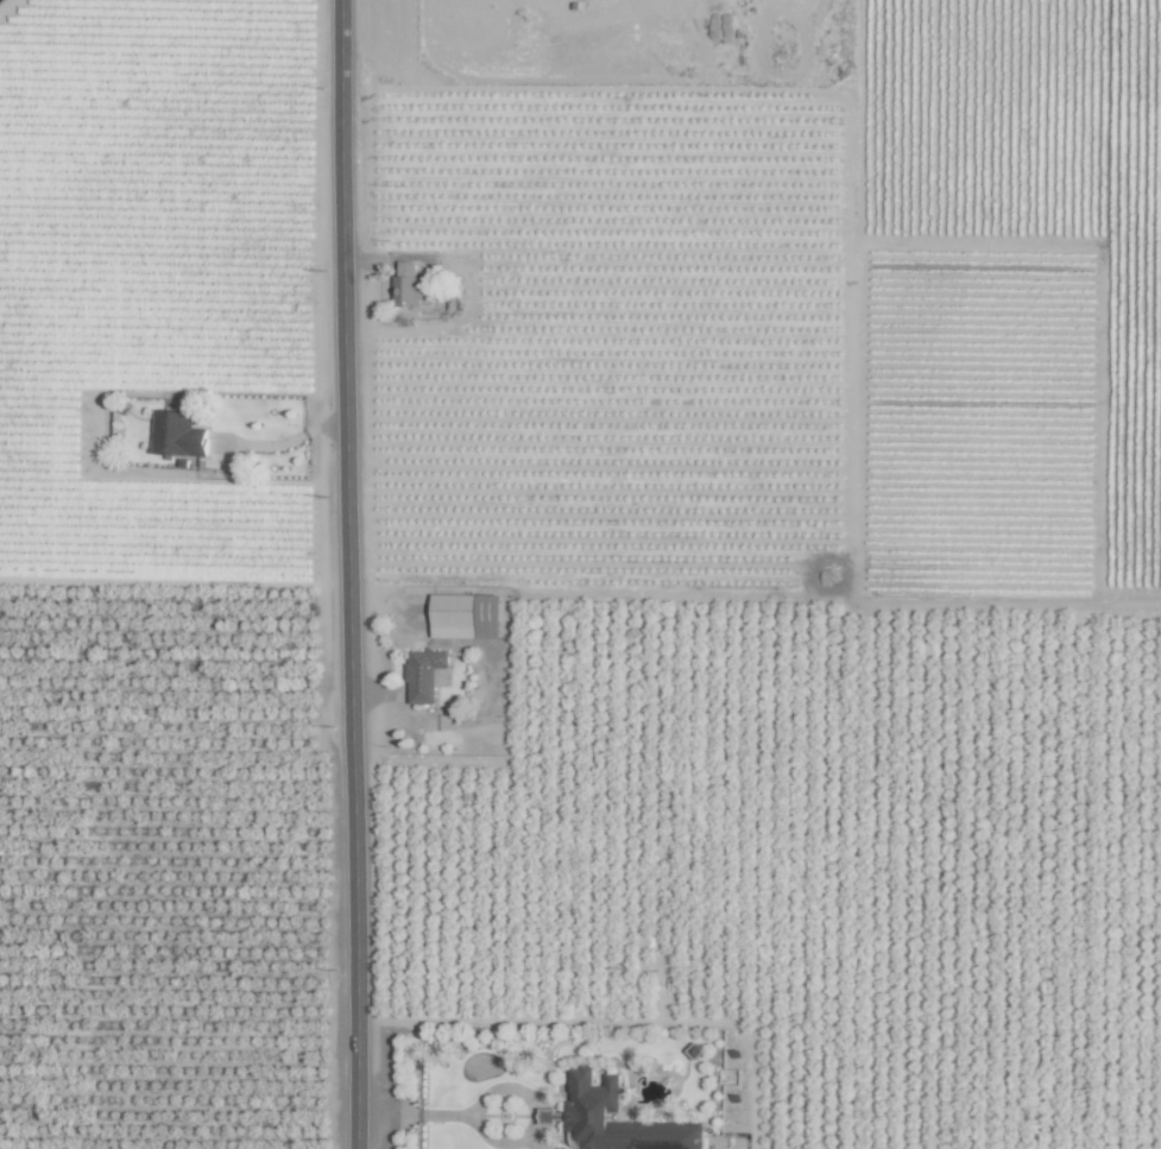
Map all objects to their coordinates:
building: (411, 285)
building: (177, 434)
road: (291, 442)
road: (347, 574)
building: (466, 615)
building: (425, 675)
building: (591, 1106)
road: (415, 1116)
road: (531, 1117)

